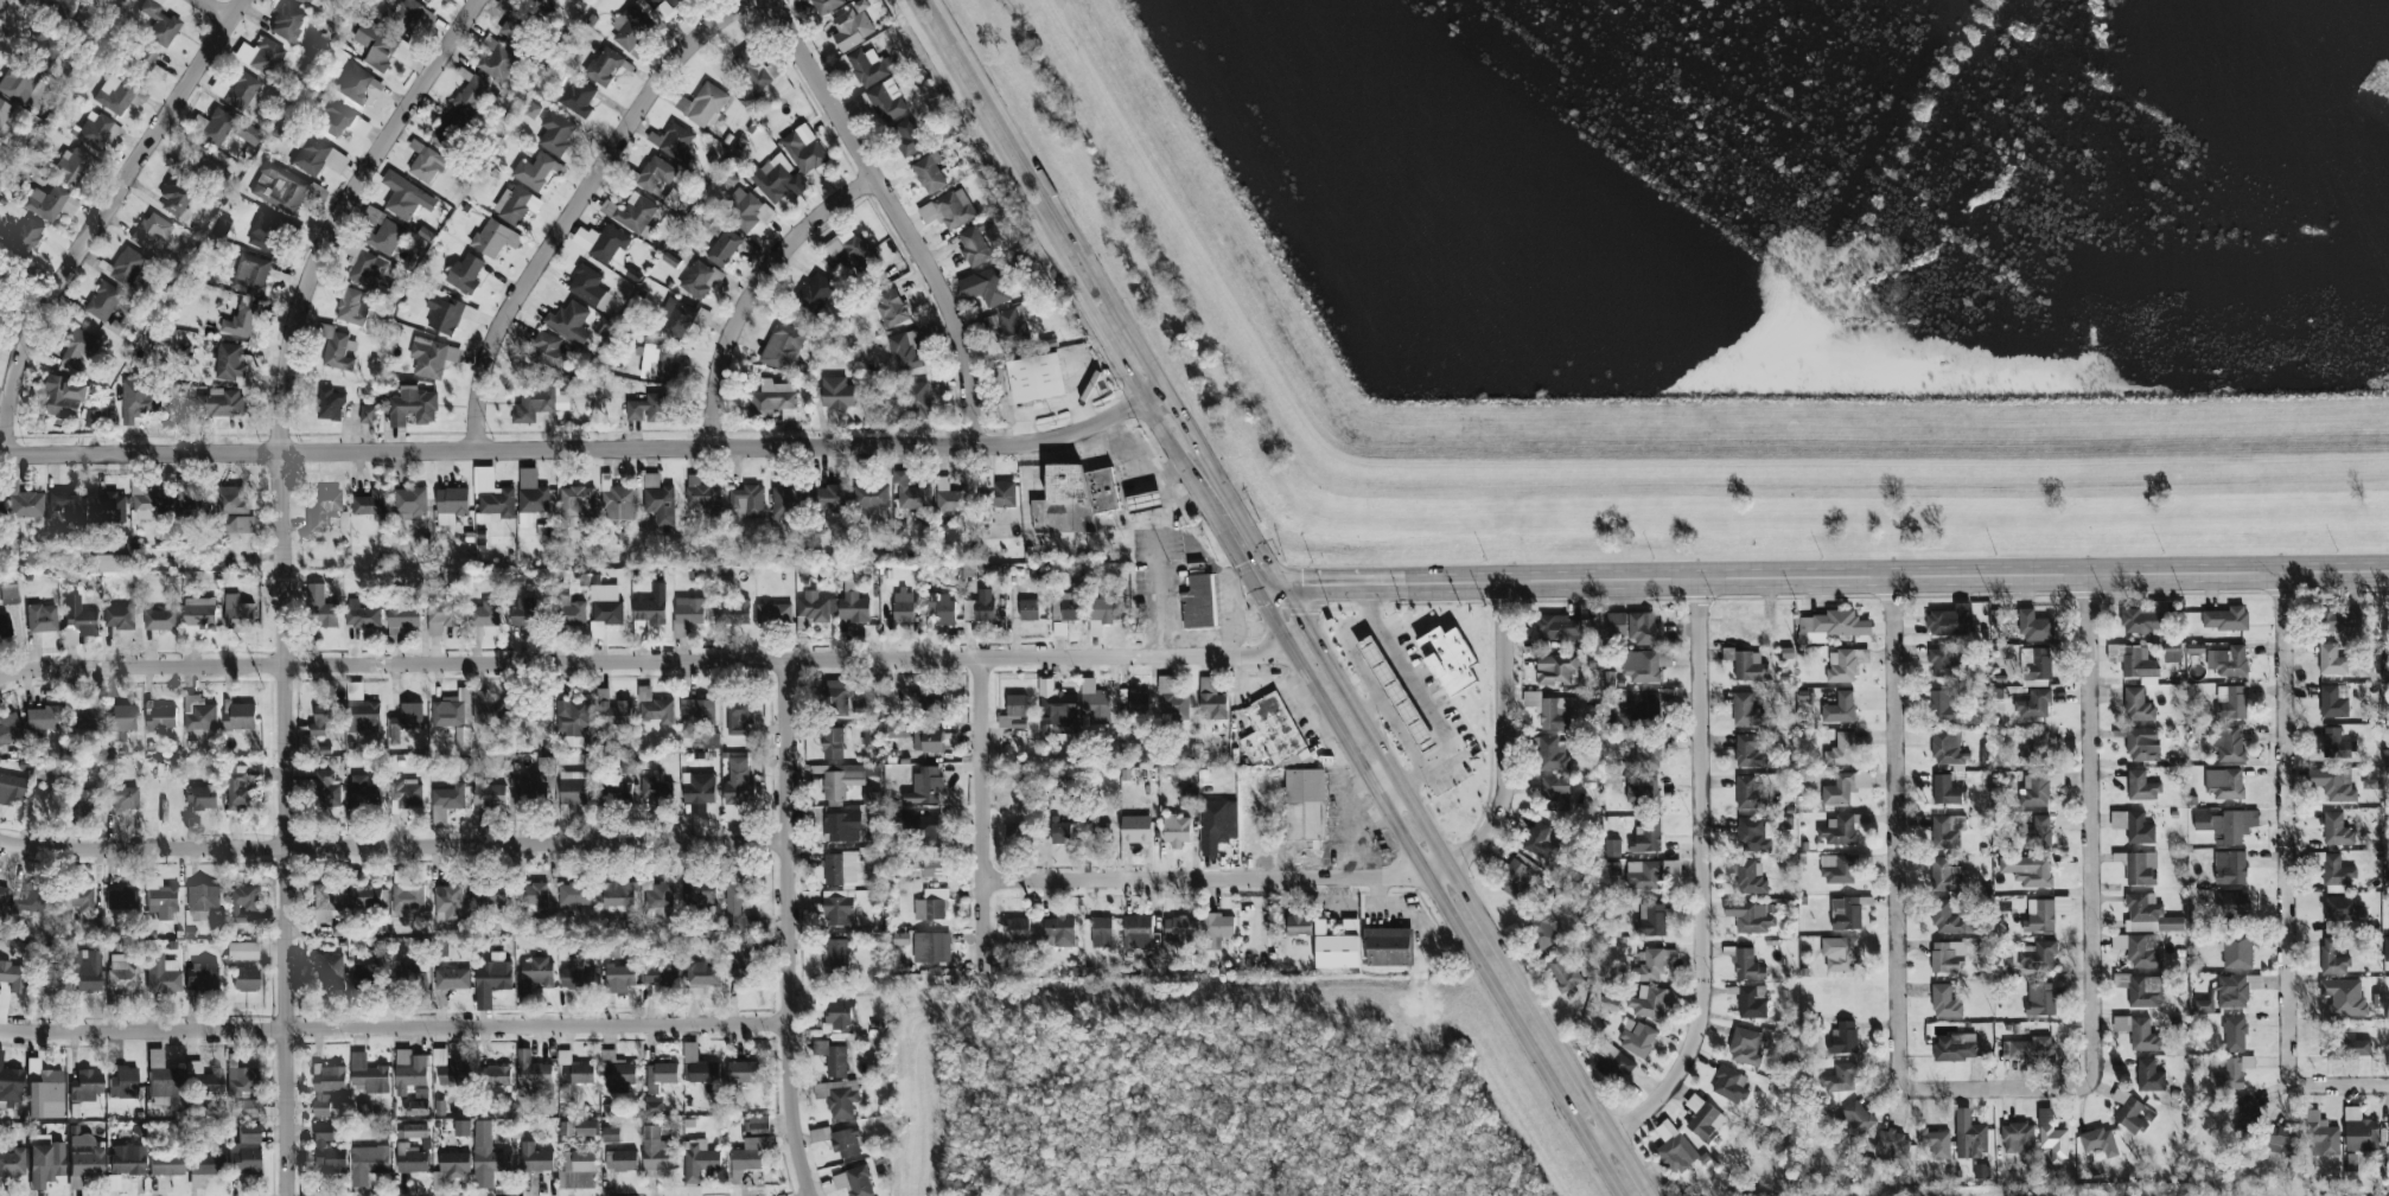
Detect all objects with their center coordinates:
road: (0, 0)
building: (429, 0)
building: (543, 0)
building: (313, 2)
building: (827, 5)
road: (219, 8)
building: (64, 9)
building: (660, 9)
building: (404, 17)
building: (288, 21)
building: (159, 23)
building: (852, 25)
building: (516, 26)
building: (630, 28)
building: (45, 45)
building: (382, 46)
building: (261, 55)
building: (497, 59)
building: (144, 60)
building: (604, 65)
building: (865, 65)
building: (754, 70)
building: (17, 83)
building: (355, 84)
building: (241, 90)
building: (114, 94)
building: (471, 94)
building: (578, 97)
building: (886, 101)
building: (706, 105)
building: (4, 111)
building: (335, 120)
building: (212, 126)
building: (94, 129)
building: (447, 129)
building: (556, 132)
building: (907, 136)
building: (673, 142)
building: (804, 148)
building: (318, 156)
building: (202, 165)
building: (71, 166)
building: (534, 171)
building: (656, 173)
building: (929, 174)
building: (778, 178)
building: (280, 187)
building: (406, 197)
building: (176, 198)
building: (46, 202)
building: (516, 204)
road: (578, 205)
building: (744, 209)
building: (948, 209)
road: (342, 212)
building: (631, 212)
road: (894, 213)
road: (101, 218)
building: (706, 219)
building: (221, 228)
building: (151, 230)
building: (267, 232)
building: (27, 235)
building: (495, 238)
building: (601, 242)
building: (974, 247)
building: (724, 248)
building: (851, 251)
building: (127, 266)
building: (370, 271)
building: (465, 273)
building: (250, 274)
building: (4, 279)
building: (700, 279)
building: (588, 287)
building: (985, 287)
road: (754, 289)
building: (814, 293)
building: (0, 299)
building: (103, 301)
building: (353, 306)
building: (890, 307)
building: (450, 314)
building: (681, 318)
building: (241, 320)
building: (569, 321)
building: (1005, 327)
building: (81, 346)
building: (782, 346)
building: (335, 347)
building: (909, 347)
building: (548, 350)
building: (432, 357)
building: (229, 362)
building: (658, 362)
building: (1036, 377)
road: (1078, 384)
building: (836, 392)
building: (65, 397)
building: (772, 398)
building: (138, 399)
building: (917, 399)
building: (219, 402)
building: (540, 403)
building: (329, 404)
building: (412, 405)
building: (650, 408)
road: (1037, 410)
building: (368, 414)
building: (93, 417)
road: (728, 446)
road: (1134, 453)
road: (140, 454)
building: (702, 494)
building: (871, 494)
building: (951, 495)
building: (1000, 495)
building: (492, 497)
building: (829, 497)
building: (913, 497)
building: (189, 498)
building: (1074, 498)
building: (576, 500)
building: (658, 500)
building: (789, 500)
building: (410, 501)
building: (619, 501)
building: (746, 501)
building: (1145, 501)
building: (148, 503)
building: (26, 504)
building: (372, 504)
building: (451, 504)
building: (531, 504)
building: (0, 506)
building: (69, 506)
building: (108, 507)
building: (320, 507)
building: (234, 511)
road: (1157, 554)
road: (1821, 580)
building: (8, 594)
road: (1260, 597)
road: (1288, 599)
building: (1199, 601)
building: (853, 602)
building: (904, 606)
building: (980, 606)
building: (321, 607)
building: (604, 608)
building: (1106, 608)
building: (941, 609)
building: (1028, 609)
building: (649, 610)
building: (689, 610)
building: (527, 612)
building: (568, 612)
building: (732, 612)
building: (1064, 612)
road: (1231, 612)
building: (237, 613)
building: (402, 613)
building: (484, 613)
building: (773, 613)
building: (362, 614)
building: (442, 615)
building: (119, 616)
building: (198, 616)
building: (42, 618)
building: (161, 618)
building: (77, 619)
building: (2146, 619)
building: (2226, 619)
building: (2339, 619)
building: (1950, 620)
building: (1833, 625)
building: (5, 626)
building: (2034, 626)
building: (1557, 627)
building: (1636, 627)
building: (2172, 654)
building: (1448, 659)
building: (2229, 660)
building: (2332, 660)
road: (645, 661)
building: (2134, 661)
building: (1944, 663)
building: (1746, 664)
building: (2036, 664)
building: (1644, 665)
building: (1841, 666)
building: (1555, 669)
building: (864, 689)
road: (1376, 690)
building: (1396, 693)
road: (1420, 695)
building: (836, 697)
building: (1211, 698)
building: (925, 699)
building: (1172, 699)
building: (2333, 701)
building: (1134, 702)
building: (2231, 702)
building: (2034, 704)
building: (2138, 704)
building: (82, 706)
building: (655, 706)
building: (1094, 706)
building: (1840, 708)
building: (1942, 708)
building: (452, 709)
building: (488, 709)
building: (612, 709)
building: (1643, 709)
building: (1057, 710)
building: (1553, 710)
building: (1745, 710)
building: (530, 712)
building: (1014, 712)
building: (696, 714)
building: (198, 715)
building: (363, 715)
building: (160, 716)
building: (738, 716)
building: (122, 717)
building: (240, 717)
building: (325, 717)
building: (43, 718)
building: (572, 719)
building: (406, 721)
building: (9, 728)
building: (894, 730)
building: (1270, 730)
road: (1506, 735)
building: (868, 736)
building: (926, 741)
building: (832, 743)
building: (2229, 743)
building: (2337, 743)
building: (2142, 744)
building: (1948, 748)
building: (1841, 749)
building: (1750, 750)
building: (2036, 750)
building: (1552, 753)
building: (1649, 754)
building: (1985, 757)
building: (629, 765)
building: (846, 779)
building: (738, 782)
building: (2224, 782)
building: (2333, 784)
building: (534, 786)
building: (925, 786)
building: (2141, 786)
building: (1845, 787)
building: (238, 788)
building: (572, 788)
building: (12, 789)
building: (327, 789)
building: (656, 789)
building: (1947, 789)
building: (1641, 791)
building: (2034, 791)
building: (699, 792)
building: (364, 793)
building: (1748, 793)
building: (404, 794)
building: (490, 794)
building: (614, 794)
building: (1555, 794)
building: (121, 795)
building: (202, 797)
building: (448, 797)
building: (872, 798)
building: (81, 799)
building: (1304, 804)
road: (981, 816)
building: (1218, 819)
building: (2119, 819)
road: (285, 824)
building: (2226, 825)
building: (841, 826)
building: (2140, 827)
building: (928, 829)
building: (1136, 829)
building: (2337, 829)
building: (1176, 830)
building: (1837, 830)
building: (1948, 830)
building: (1018, 831)
building: (1060, 831)
building: (1100, 831)
building: (2039, 831)
building: (1752, 834)
building: (1645, 838)
building: (1542, 839)
road: (393, 845)
building: (1612, 848)
building: (931, 862)
building: (2230, 866)
building: (842, 868)
building: (2141, 868)
building: (1836, 869)
building: (2333, 869)
building: (2027, 870)
building: (1650, 872)
building: (1945, 875)
building: (1747, 876)
road: (2285, 876)
road: (2092, 877)
road: (1217, 880)
road: (1897, 883)
road: (1700, 888)
building: (407, 893)
building: (4, 894)
building: (491, 894)
building: (700, 894)
building: (573, 895)
building: (618, 895)
building: (329, 896)
building: (365, 896)
building: (77, 897)
building: (30, 898)
building: (122, 898)
building: (161, 898)
building: (203, 901)
building: (243, 903)
building: (2232, 903)
building: (451, 904)
building: (931, 904)
building: (737, 906)
building: (837, 909)
building: (1846, 913)
building: (2148, 914)
building: (2342, 914)
building: (2039, 915)
building: (1752, 916)
building: (1947, 917)
building: (1651, 920)
building: (1299, 923)
road: (789, 928)
building: (1179, 928)
building: (1216, 929)
building: (1136, 930)
building: (1541, 930)
building: (1017, 932)
building: (1059, 932)
building: (1101, 932)
building: (1389, 946)
building: (931, 947)
building: (243, 951)
building: (1337, 951)
building: (2237, 951)
building: (1841, 953)
building: (837, 954)
building: (2038, 955)
building: (2333, 957)
building: (1944, 958)
building: (745, 964)
building: (1747, 965)
building: (372, 966)
building: (1650, 966)
building: (85, 971)
building: (1563, 971)
building: (327, 972)
building: (122, 973)
building: (161, 973)
building: (410, 973)
building: (575, 974)
building: (660, 974)
building: (12, 976)
building: (202, 976)
building: (619, 976)
building: (533, 977)
building: (452, 978)
building: (45, 979)
building: (246, 979)
building: (701, 979)
building: (491, 981)
building: (2236, 990)
building: (2145, 991)
building: (2344, 996)
building: (2040, 999)
building: (1646, 1002)
building: (1752, 1002)
building: (1945, 1002)
building: (2203, 1005)
building: (839, 1015)
road: (395, 1029)
building: (2139, 1032)
building: (2234, 1032)
building: (1843, 1037)
building: (1637, 1038)
building: (1745, 1047)
building: (1955, 1047)
building: (2349, 1047)
building: (2030, 1048)
building: (833, 1059)
building: (1612, 1063)
building: (699, 1064)
building: (450, 1067)
building: (575, 1069)
building: (409, 1070)
building: (744, 1072)
building: (530, 1073)
building: (617, 1073)
building: (2232, 1073)
building: (368, 1074)
building: (498, 1074)
building: (660, 1075)
building: (2149, 1075)
building: (1840, 1076)
building: (205, 1079)
building: (163, 1081)
building: (242, 1081)
building: (123, 1082)
building: (1729, 1085)
building: (11, 1086)
building: (85, 1086)
building: (326, 1086)
road: (2388, 1086)
building: (45, 1094)
building: (652, 1105)
building: (248, 1107)
building: (2128, 1112)
building: (2245, 1112)
building: (1703, 1119)
building: (1854, 1120)
building: (758, 1124)
building: (461, 1127)
building: (483, 1127)
building: (582, 1127)
building: (415, 1130)
building: (2361, 1131)
building: (611, 1134)
building: (1969, 1136)
building: (2321, 1136)
building: (2018, 1137)
building: (2282, 1139)
building: (2100, 1141)
building: (846, 1143)
building: (1935, 1143)
building: (2054, 1143)
building: (1894, 1145)
building: (1674, 1147)
building: (246, 1150)
building: (327, 1150)
building: (657, 1152)
building: (750, 1153)
building: (535, 1157)
building: (84, 1158)
building: (410, 1158)
building: (45, 1159)
building: (127, 1159)
building: (620, 1159)
building: (579, 1160)
building: (700, 1160)
building: (13, 1162)
building: (203, 1163)
building: (368, 1163)
building: (166, 1164)
building: (490, 1165)
building: (1866, 1166)
building: (450, 1169)
building: (1981, 1171)
building: (575, 1179)
building: (854, 1182)

